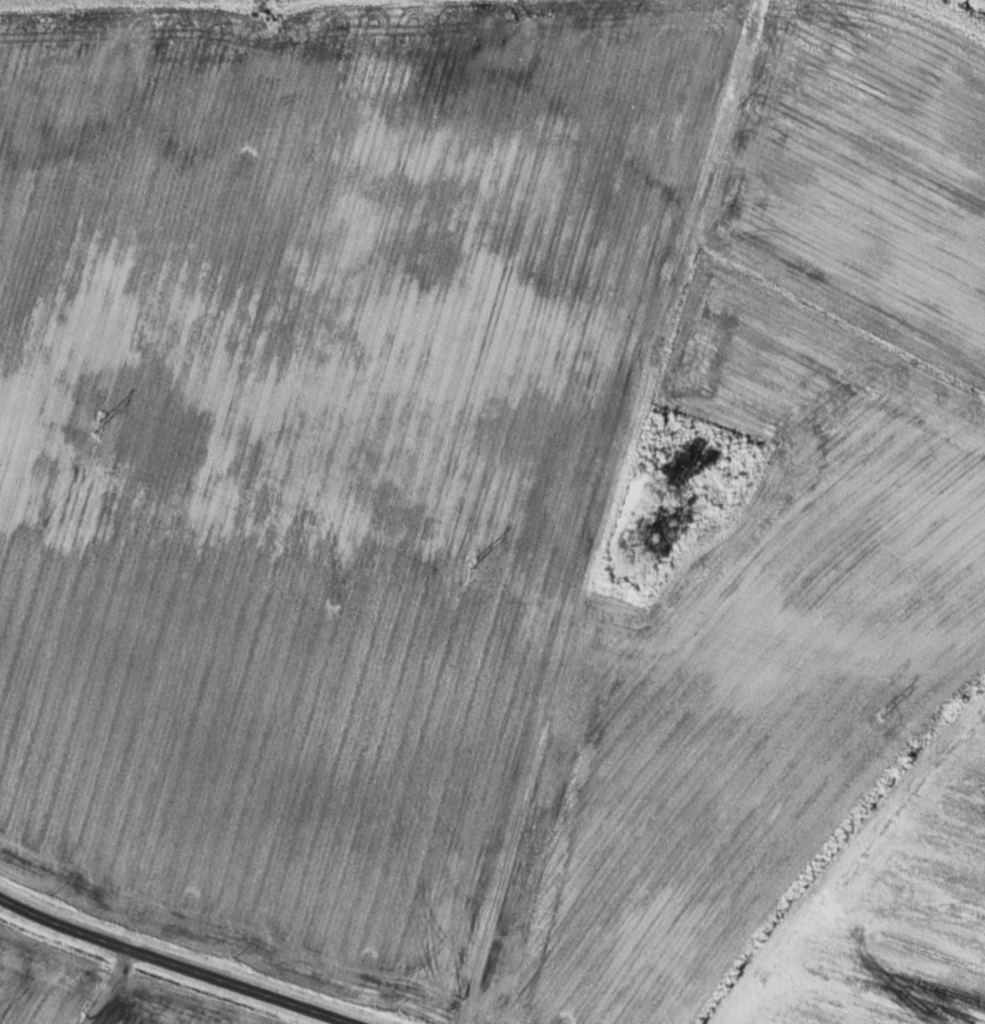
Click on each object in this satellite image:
power tower: (99, 427)
power tower: (475, 562)
power tower: (884, 711)
road: (182, 961)

